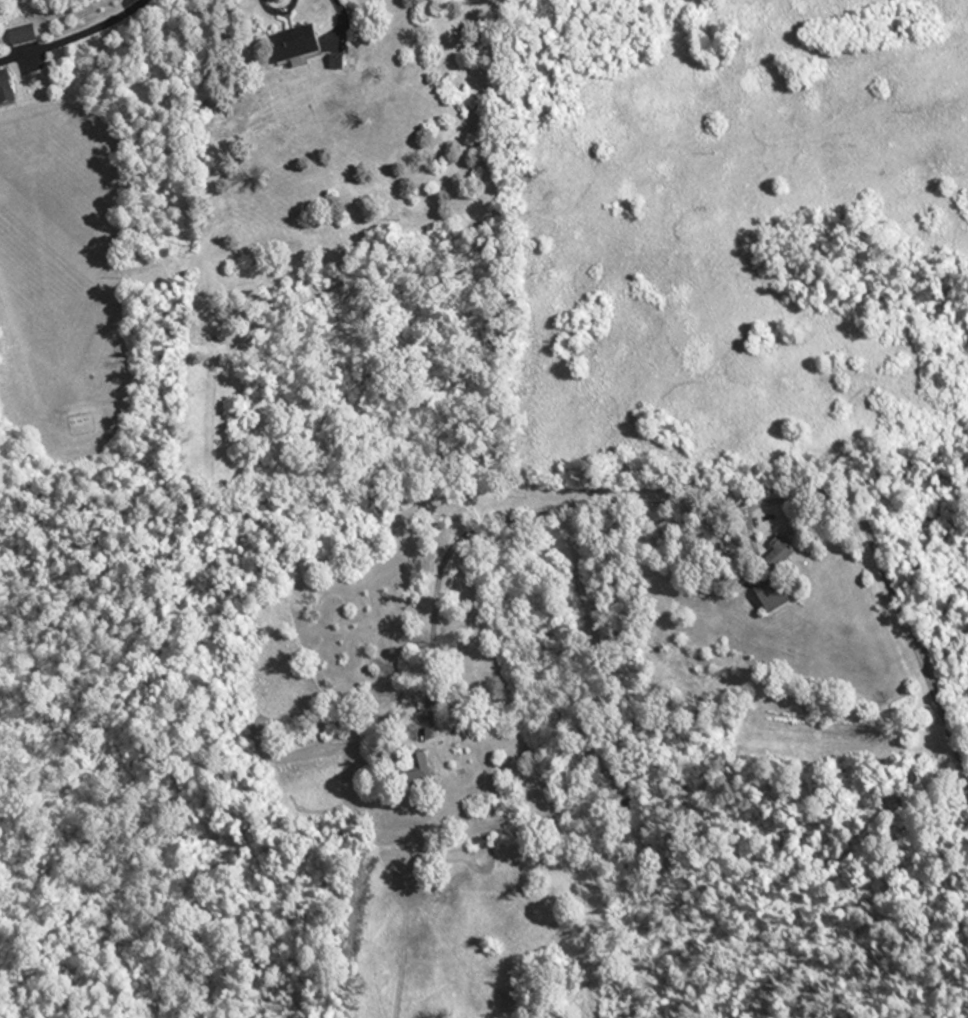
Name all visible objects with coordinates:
road: (341, 18)
road: (84, 31)
building: (19, 37)
building: (292, 47)
building: (4, 93)
road: (699, 505)
building: (778, 555)
building: (770, 596)
building: (415, 772)
building: (478, 842)

